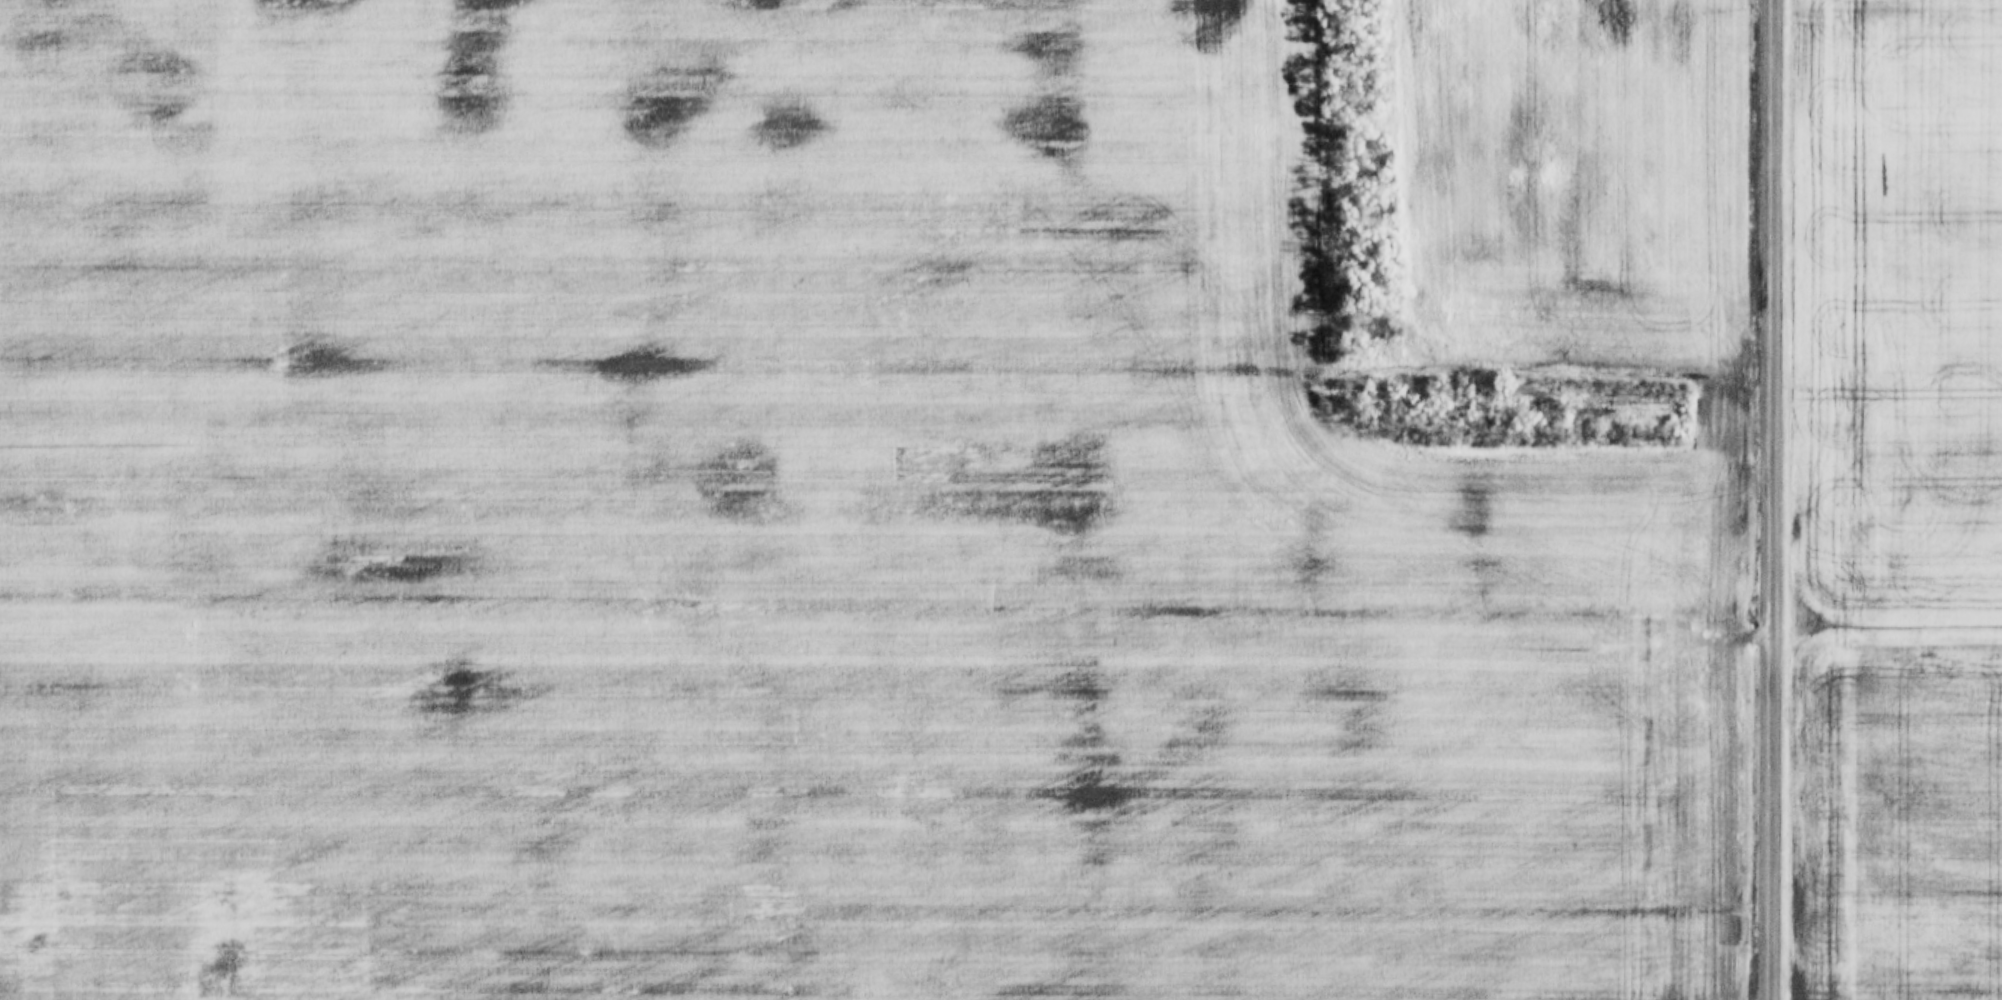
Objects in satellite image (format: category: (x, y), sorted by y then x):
road: (1777, 499)

